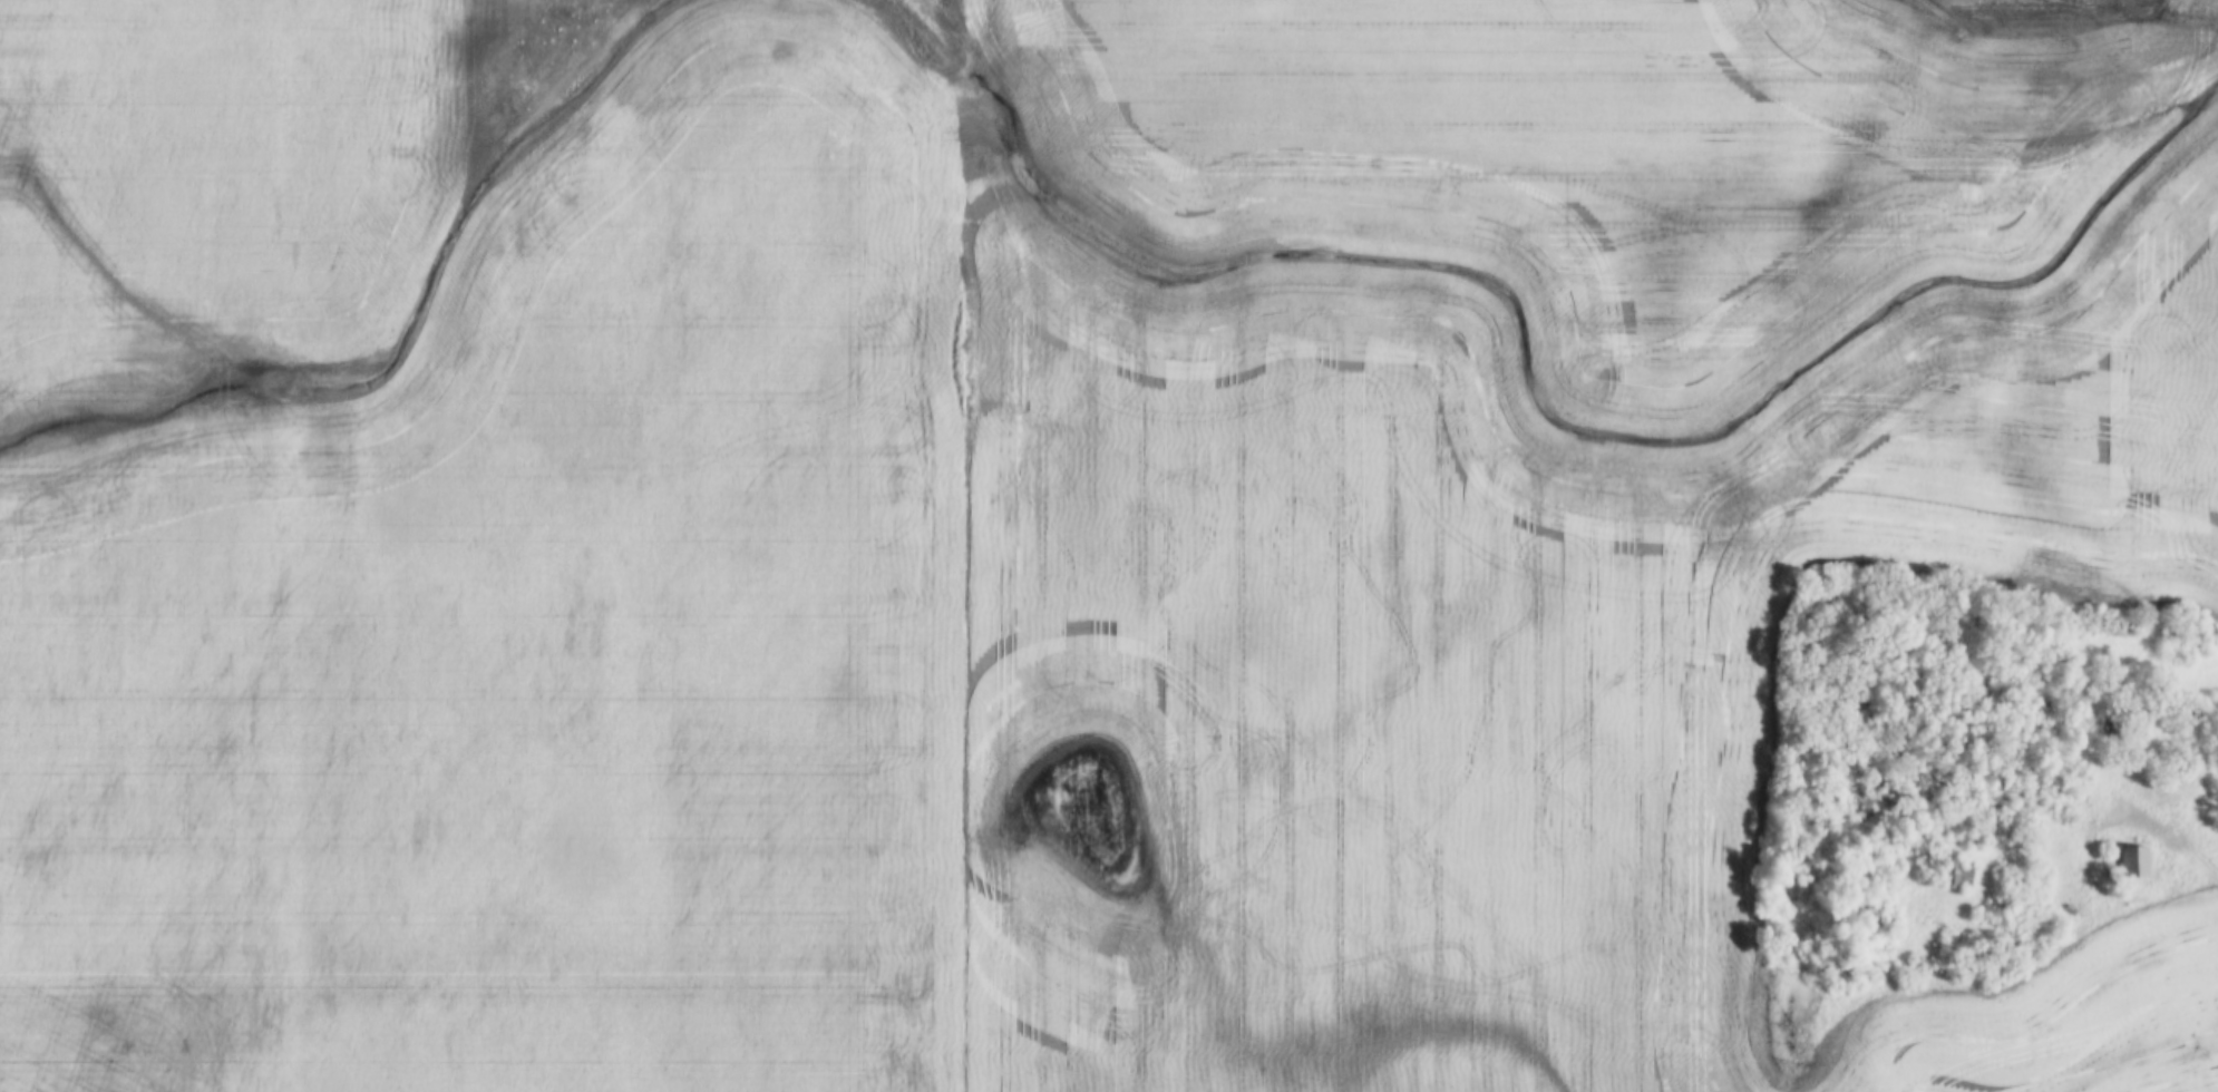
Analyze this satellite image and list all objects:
building: (2134, 861)
building: (1957, 871)

